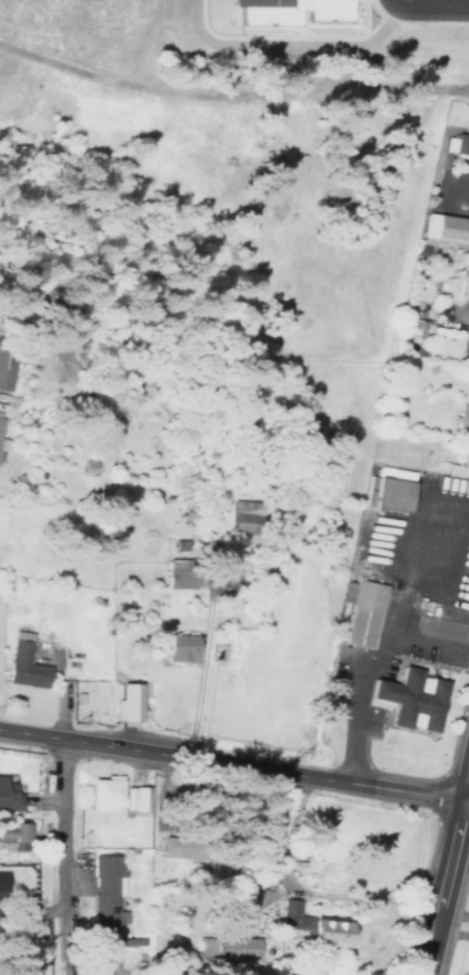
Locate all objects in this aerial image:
park: (219, 10)
building: (289, 10)
road: (365, 11)
track: (250, 15)
road: (405, 41)
road: (219, 76)
road: (167, 80)
road: (231, 94)
road: (467, 103)
road: (455, 110)
building: (460, 148)
road: (457, 194)
building: (445, 227)
building: (429, 289)
building: (408, 322)
building: (4, 370)
building: (463, 417)
building: (1, 422)
building: (179, 574)
building: (406, 575)
building: (179, 647)
road: (420, 663)
building: (26, 666)
building: (407, 698)
building: (128, 703)
road: (432, 727)
road: (230, 765)
road: (423, 778)
road: (467, 780)
building: (103, 792)
building: (8, 793)
building: (138, 798)
building: (15, 835)
road: (59, 839)
road: (460, 844)
building: (176, 849)
road: (431, 853)
road: (444, 870)
building: (2, 880)
building: (106, 893)
road: (452, 910)
road: (454, 917)
building: (306, 926)
building: (226, 947)
building: (106, 964)

